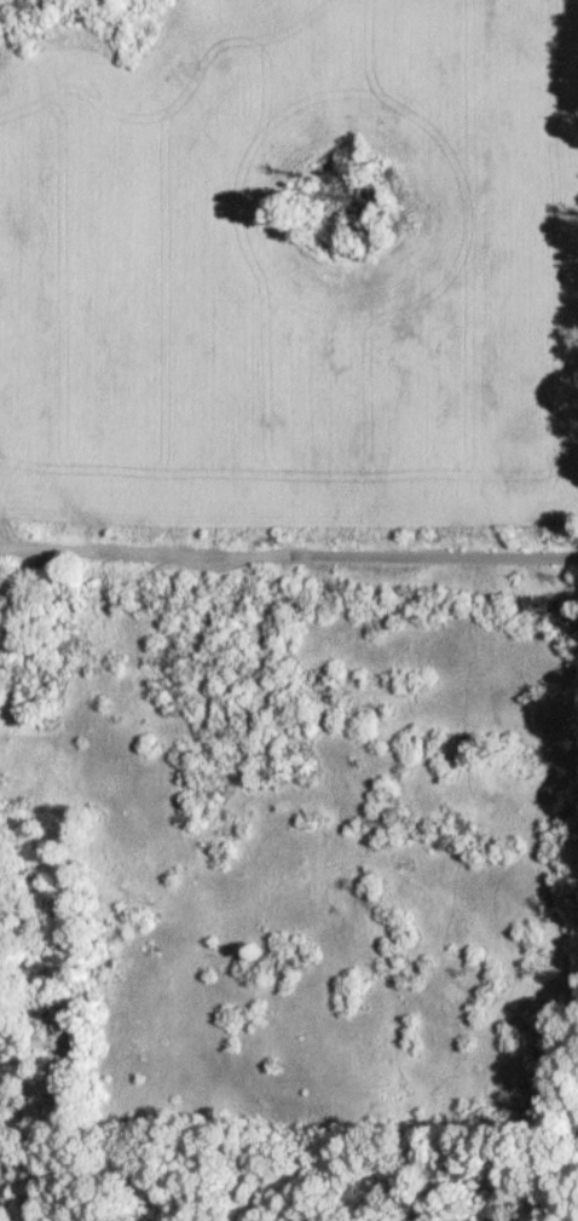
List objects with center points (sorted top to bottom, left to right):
crop: (294, 267)
road: (289, 546)

